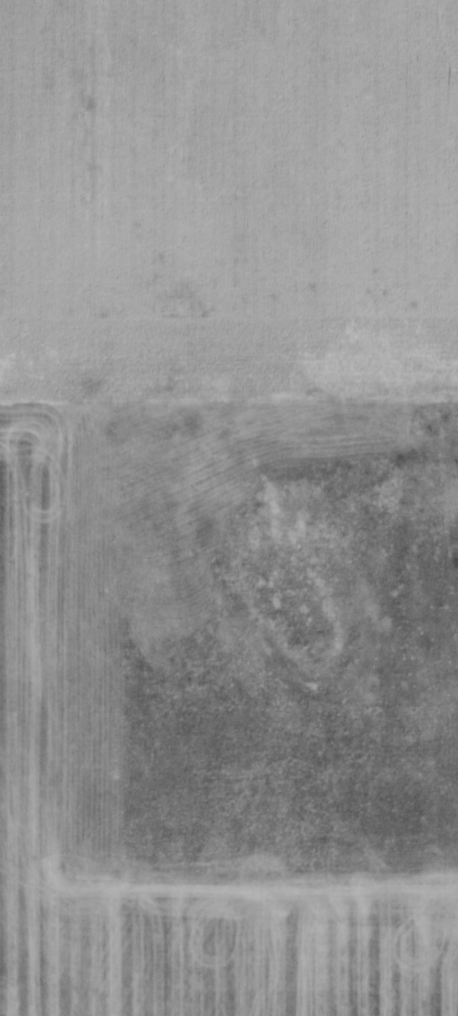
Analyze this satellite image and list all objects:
crop: (229, 508)

